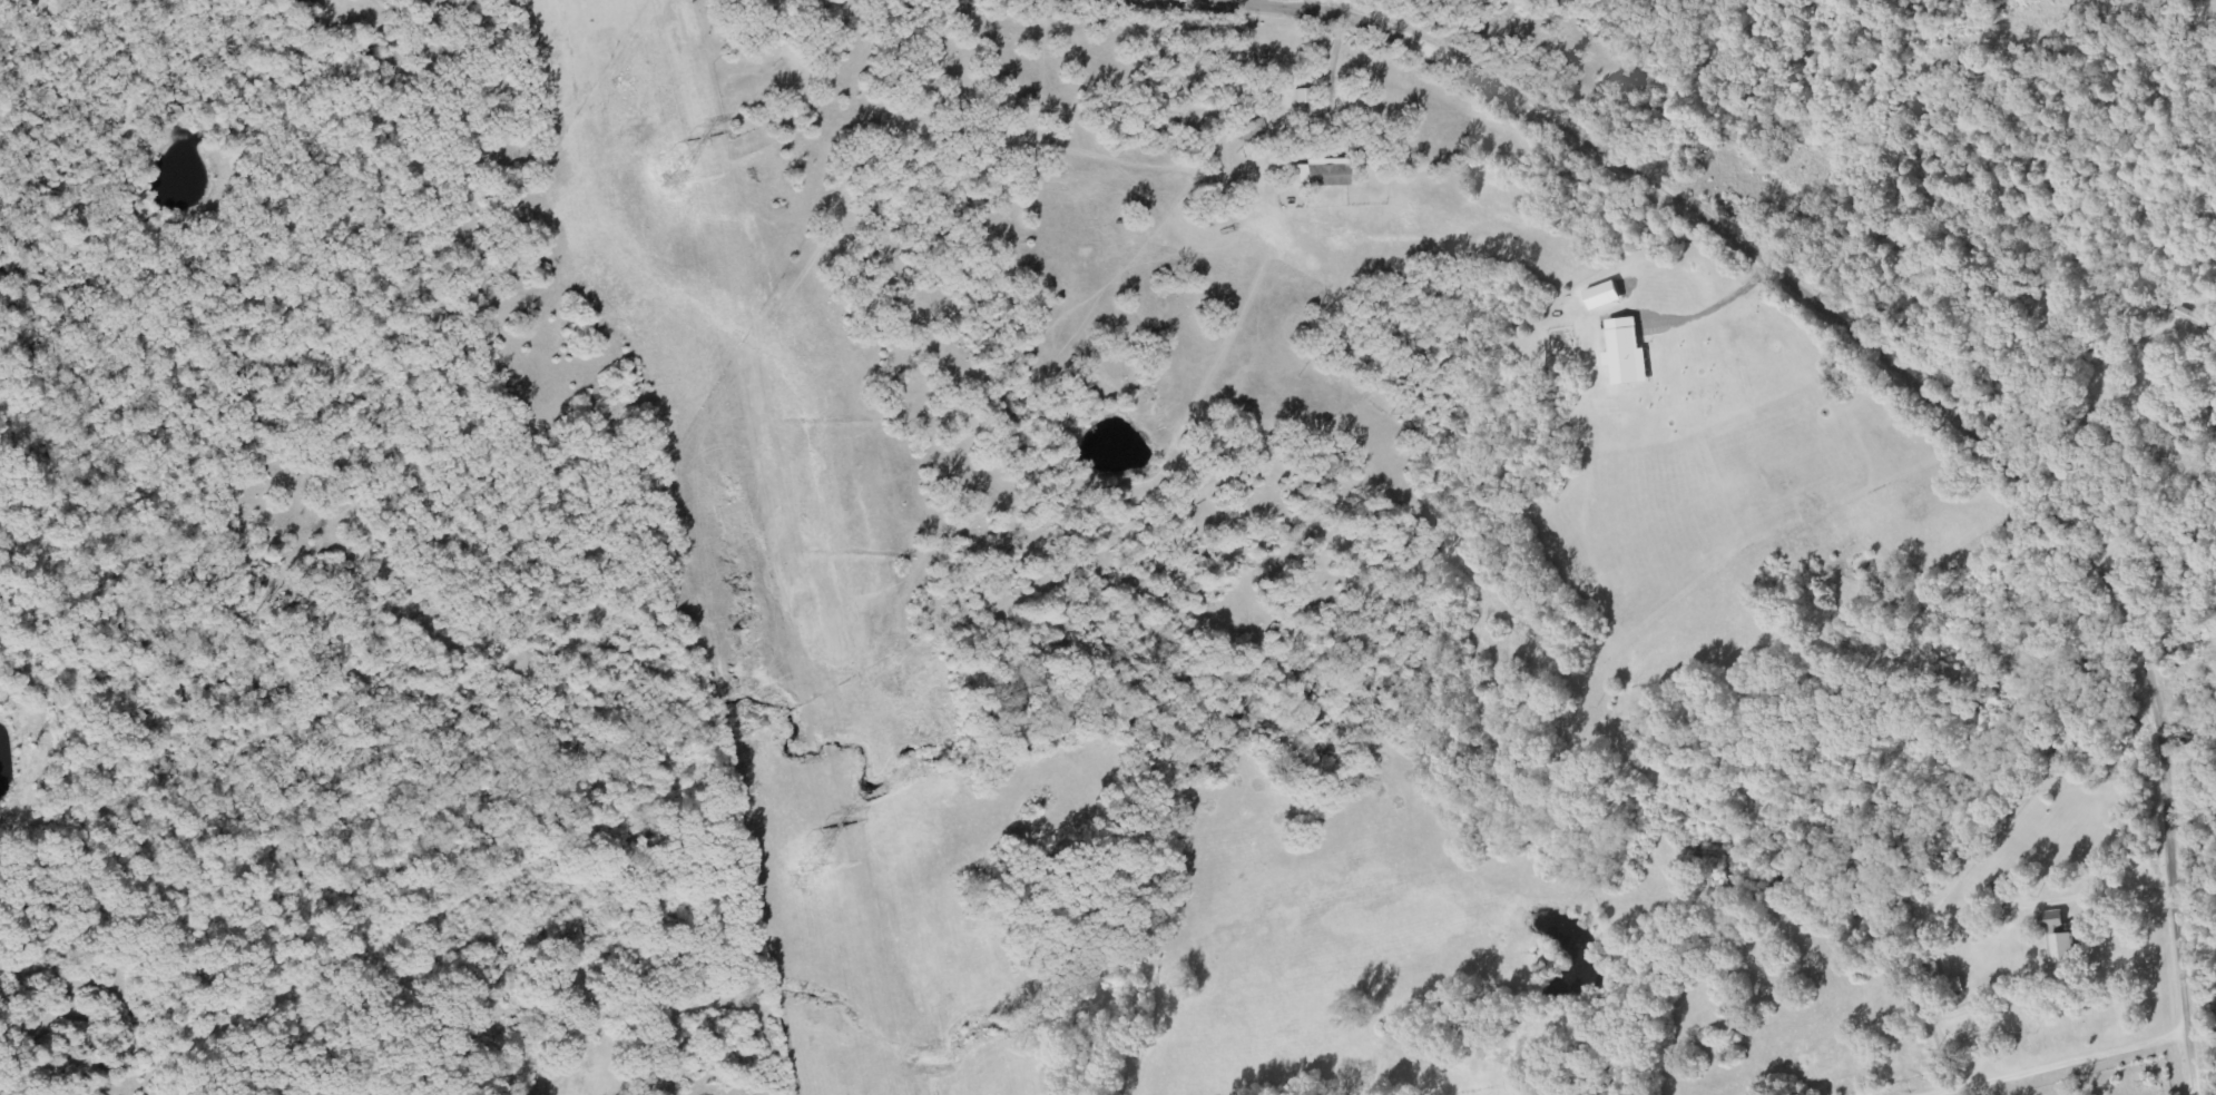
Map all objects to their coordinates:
road: (1582, 161)
building: (1320, 174)
power tower: (679, 179)
building: (1604, 297)
road: (2112, 313)
building: (1626, 354)
road: (2157, 615)
road: (2157, 792)
power tower: (813, 866)
building: (2060, 940)

